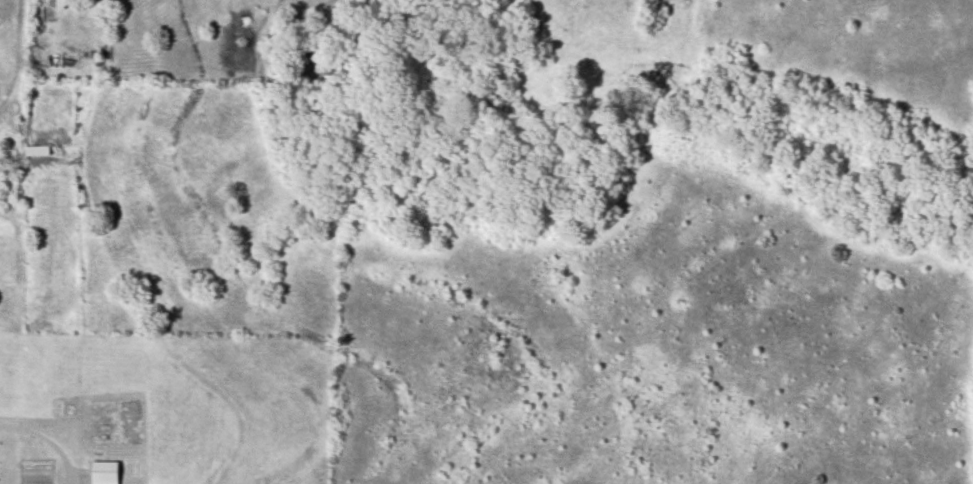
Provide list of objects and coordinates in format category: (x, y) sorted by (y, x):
building: (36, 151)
road: (39, 437)
building: (104, 473)

